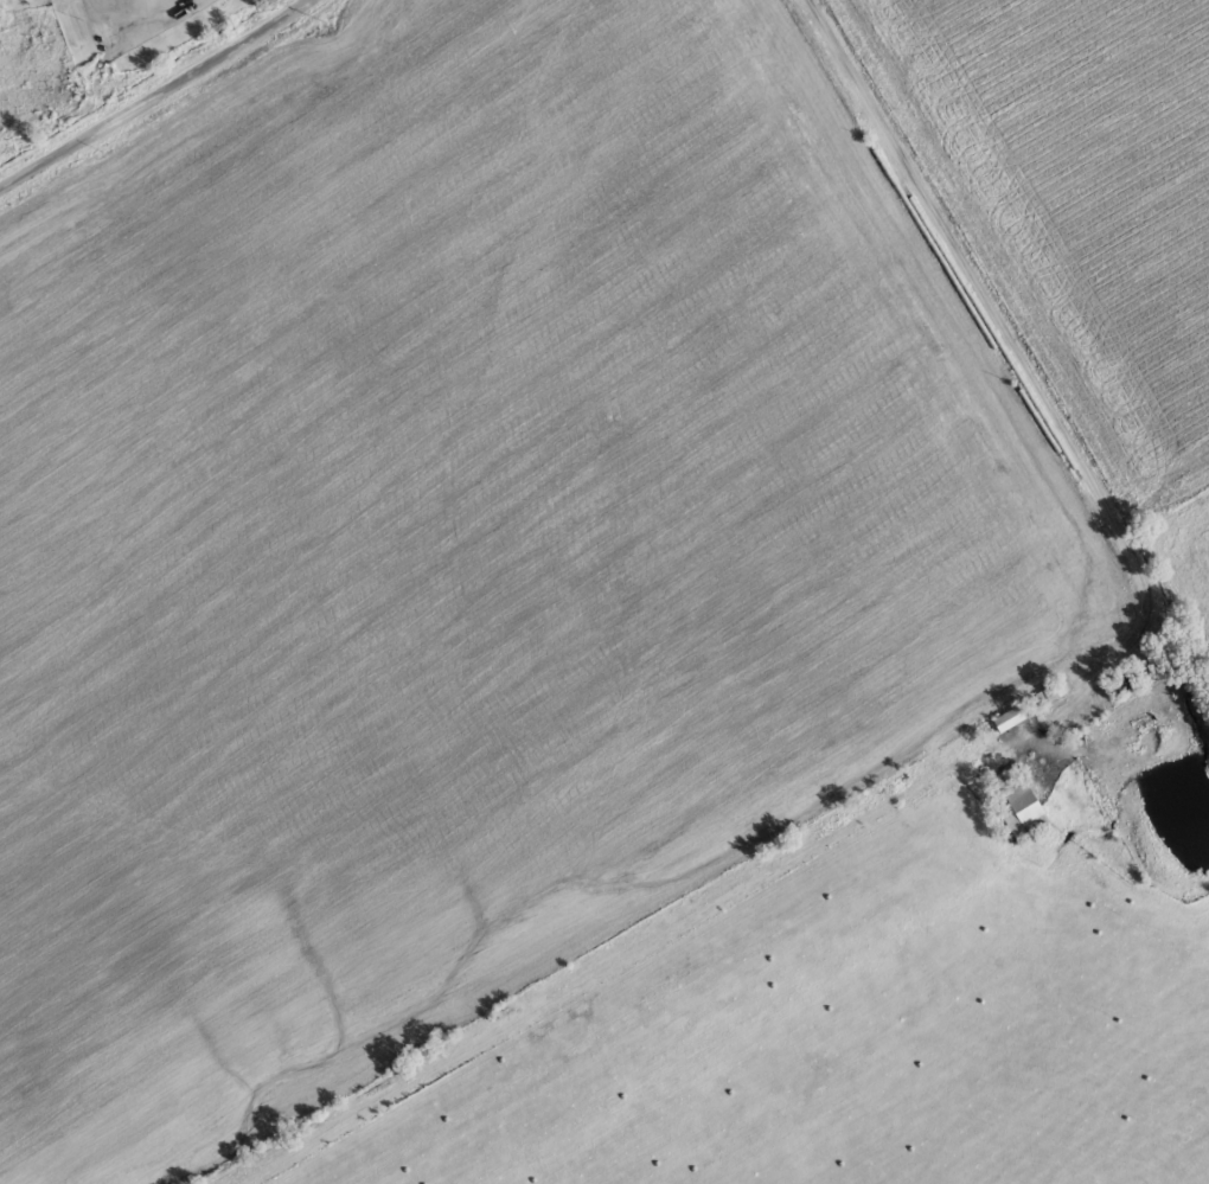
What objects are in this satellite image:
road: (156, 98)
road: (987, 348)
building: (1011, 719)
building: (1025, 811)

